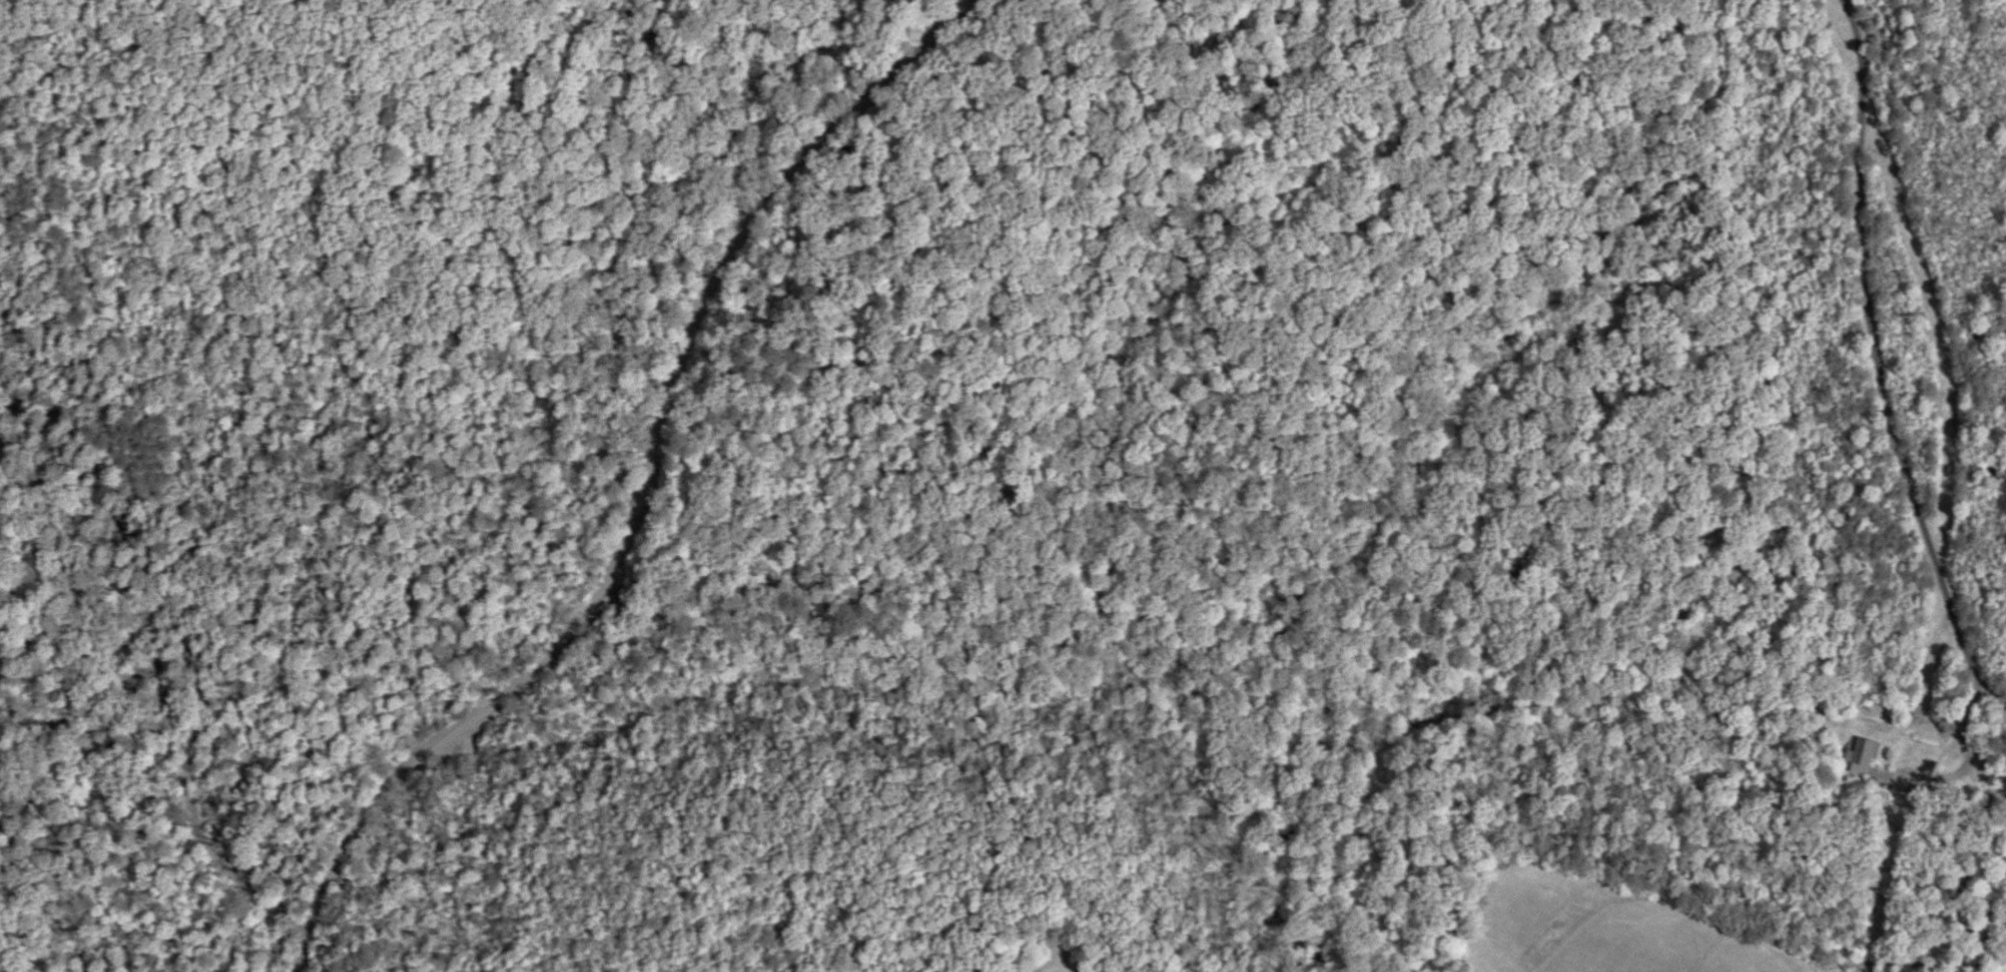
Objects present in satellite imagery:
road: (1943, 340)
road: (1879, 363)
road: (643, 492)
building: (1871, 763)
road: (1966, 771)
road: (190, 774)

